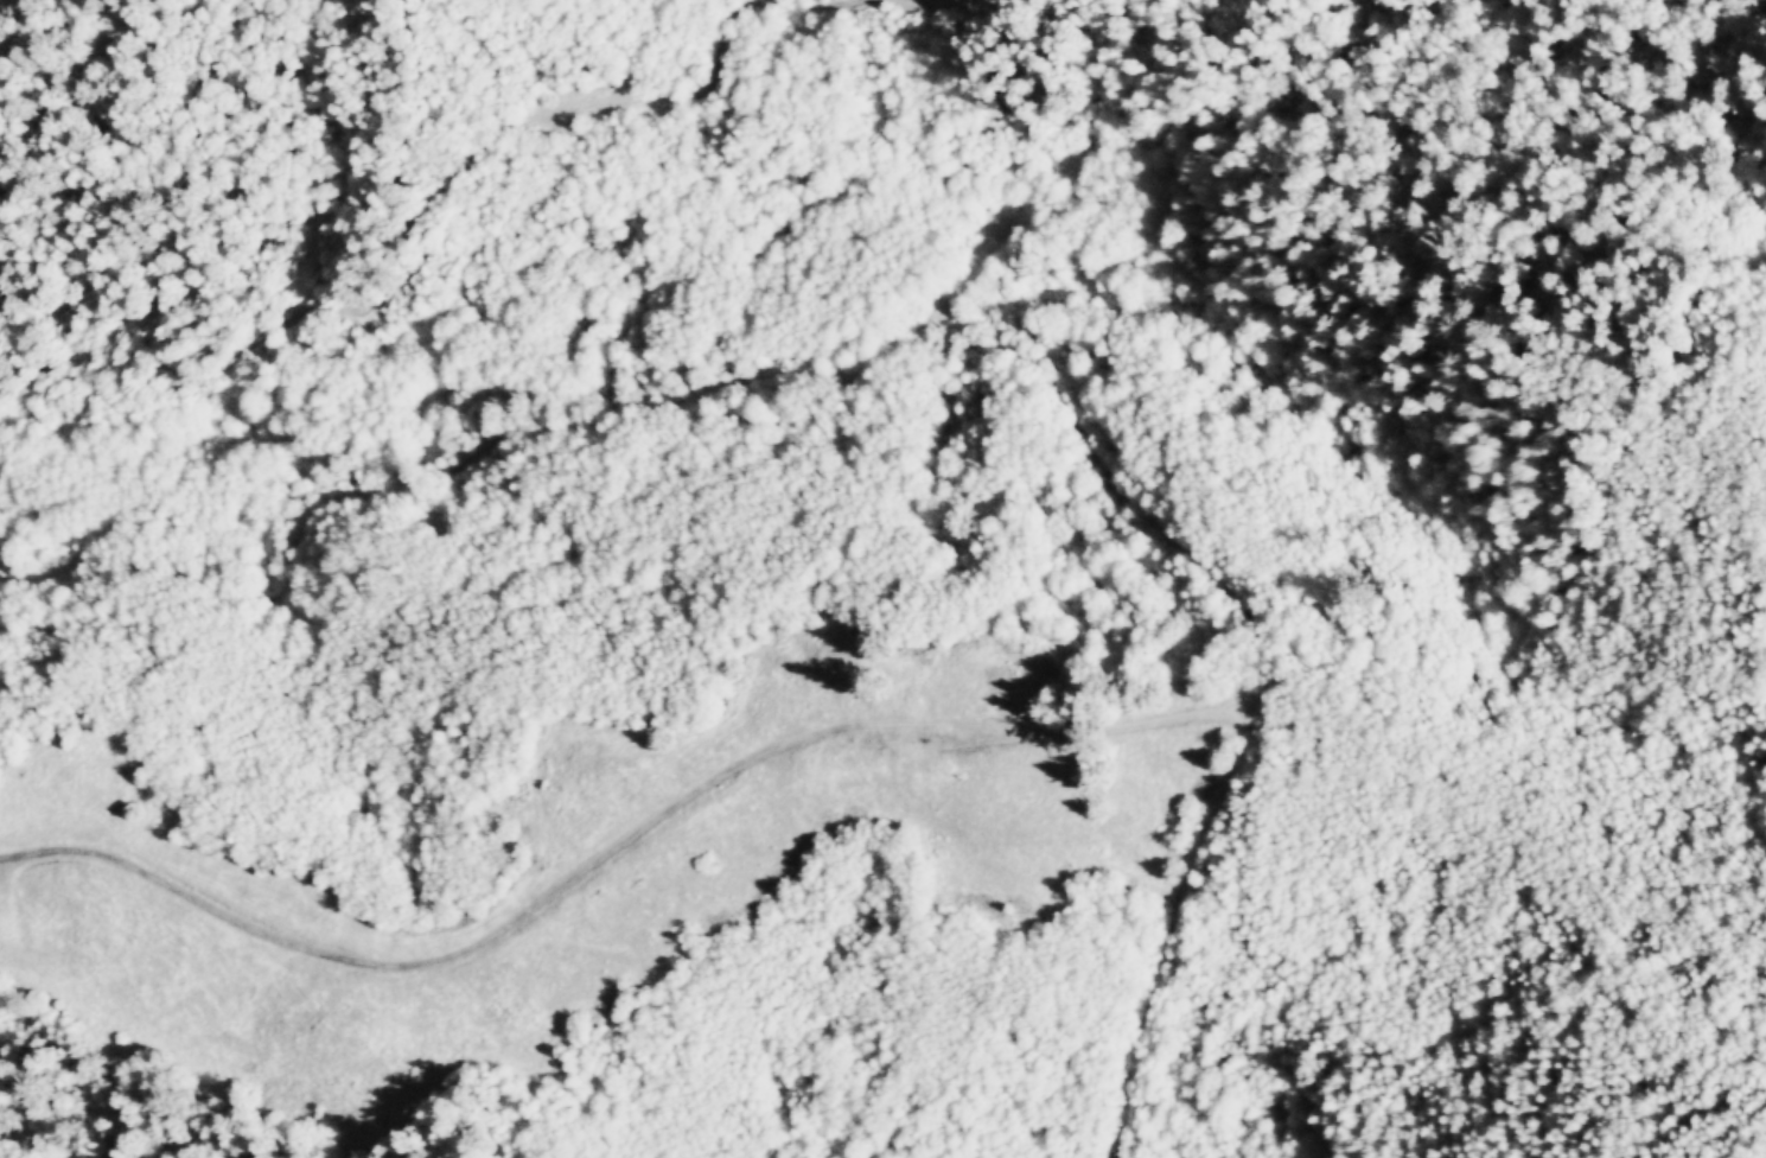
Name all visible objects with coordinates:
road: (853, 743)
road: (1163, 933)

